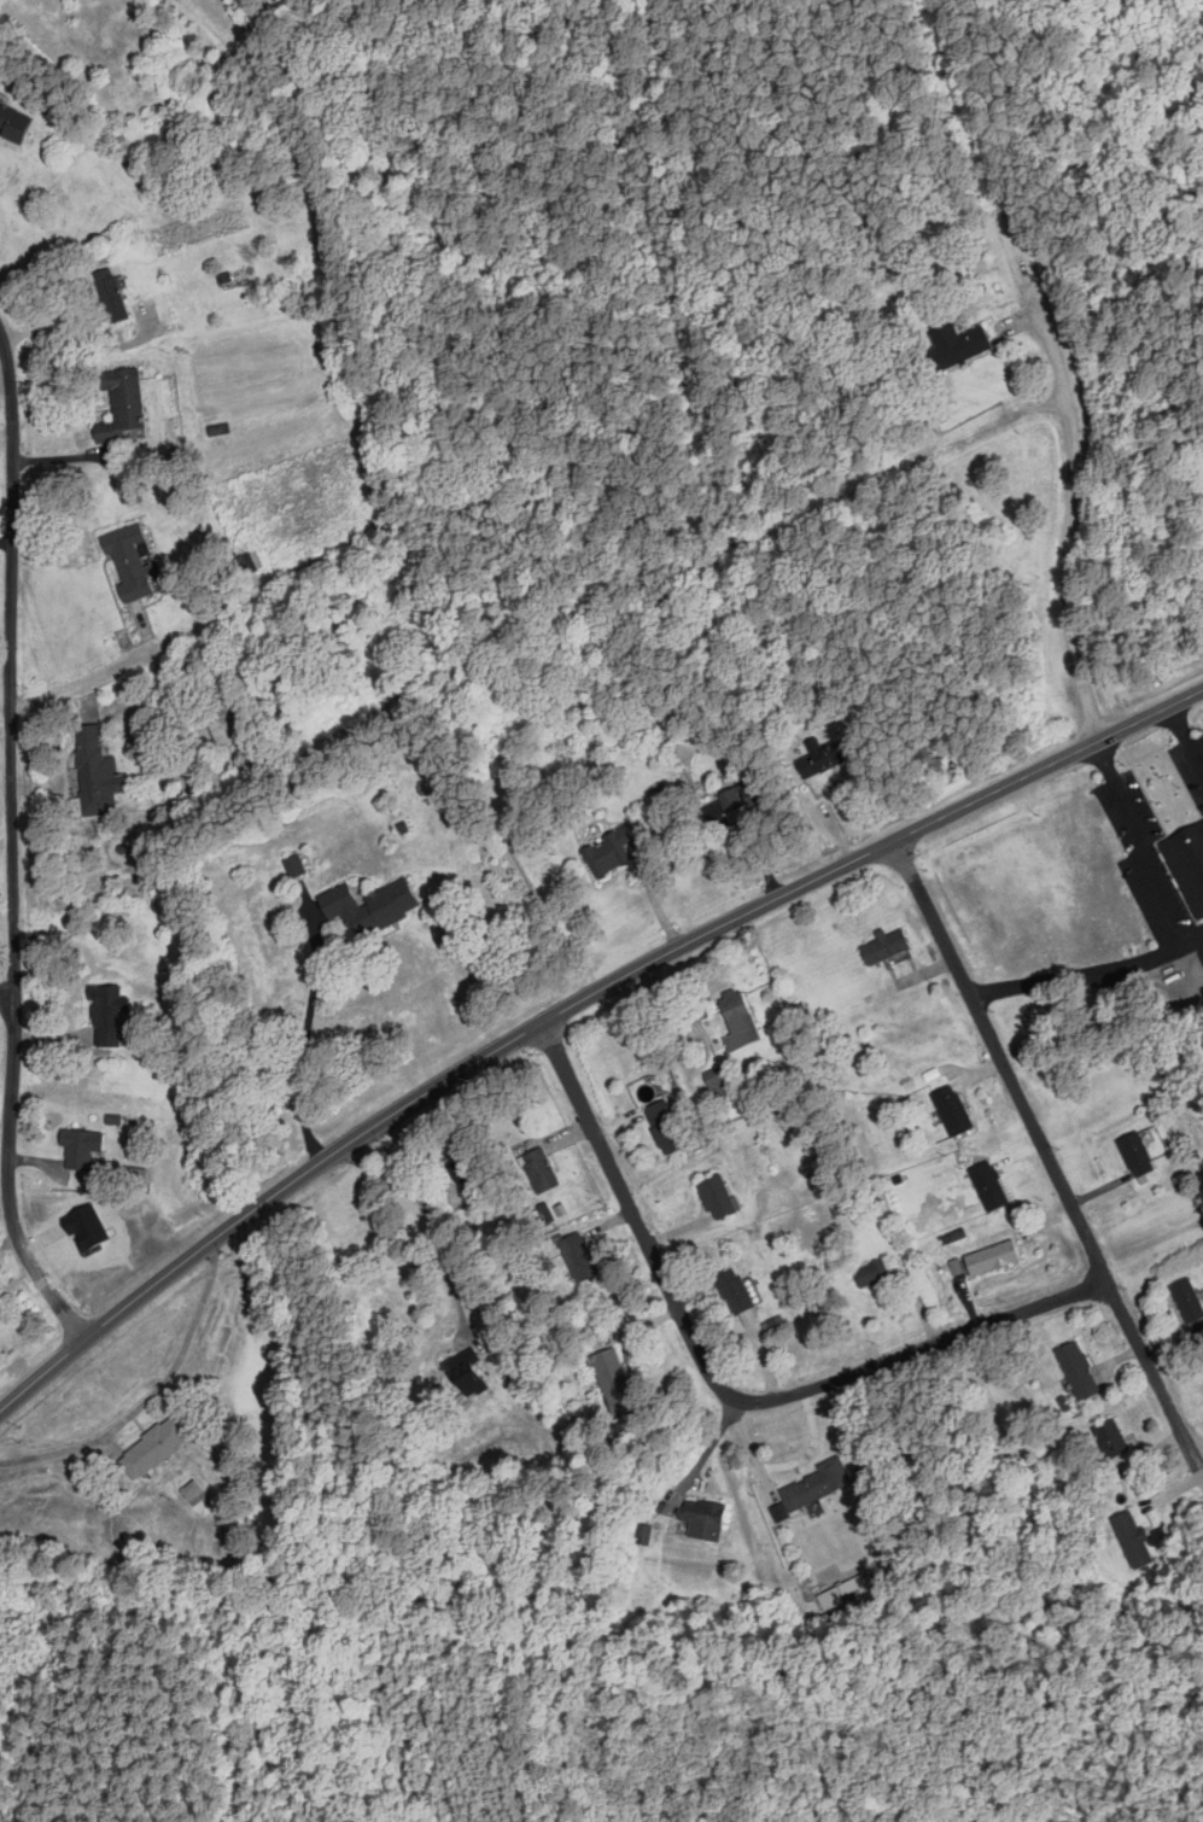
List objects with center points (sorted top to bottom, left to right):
building: (13, 121)
road: (974, 128)
building: (111, 296)
building: (957, 345)
building: (123, 407)
road: (1073, 497)
building: (130, 560)
building: (251, 561)
road: (93, 676)
road: (1149, 712)
building: (215, 719)
road: (1185, 737)
building: (819, 757)
building: (97, 770)
building: (753, 788)
building: (732, 798)
road: (12, 845)
building: (609, 853)
building: (1184, 860)
building: (294, 864)
building: (367, 903)
building: (886, 944)
road: (1191, 945)
road: (7, 986)
building: (107, 1012)
building: (738, 1018)
road: (521, 1032)
building: (716, 1082)
building: (953, 1110)
building: (666, 1126)
building: (80, 1146)
road: (1043, 1150)
building: (1138, 1154)
building: (467, 1164)
building: (541, 1169)
building: (991, 1185)
building: (717, 1196)
road: (636, 1214)
road: (433, 1219)
building: (579, 1256)
building: (993, 1257)
building: (874, 1274)
building: (736, 1291)
building: (1190, 1303)
road: (923, 1343)
building: (515, 1363)
building: (467, 1370)
building: (1079, 1371)
building: (613, 1380)
road: (150, 1395)
building: (1110, 1440)
building: (154, 1443)
road: (712, 1448)
building: (817, 1482)
building: (193, 1490)
building: (705, 1516)
building: (644, 1532)
building: (1134, 1540)
building: (845, 1590)

